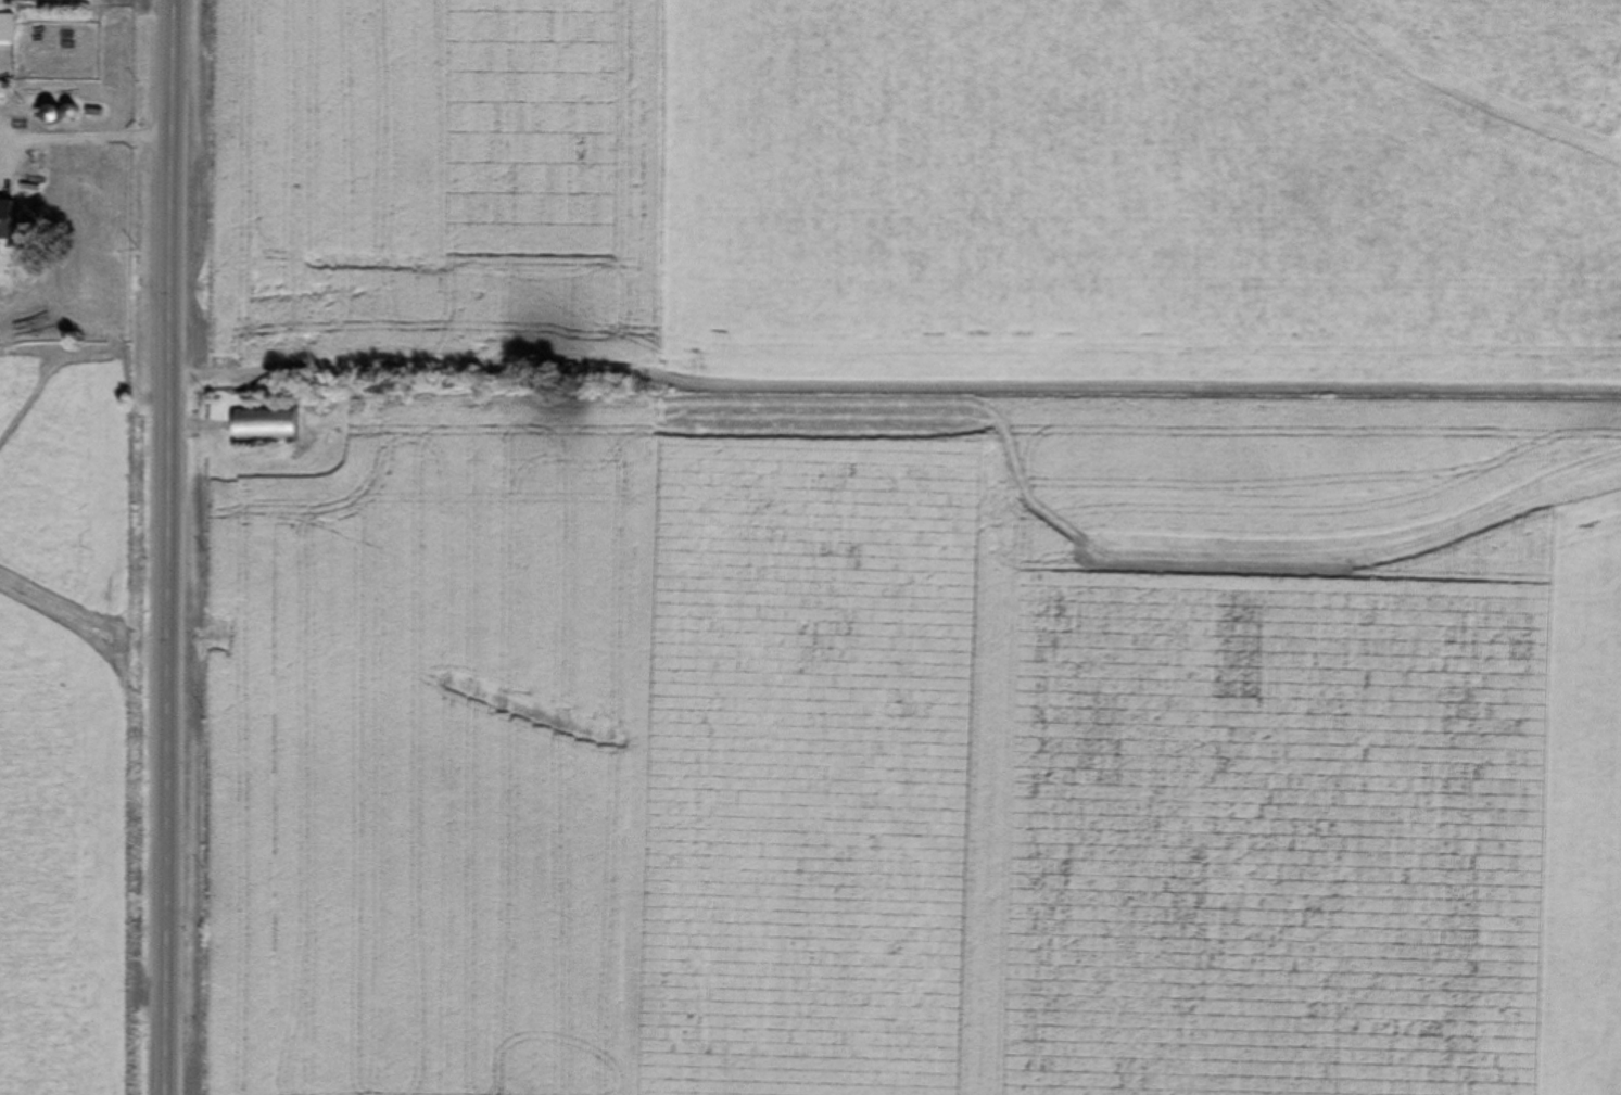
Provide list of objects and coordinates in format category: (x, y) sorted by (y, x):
building: (5, 28)
building: (48, 113)
building: (5, 218)
building: (264, 425)
road: (173, 547)

